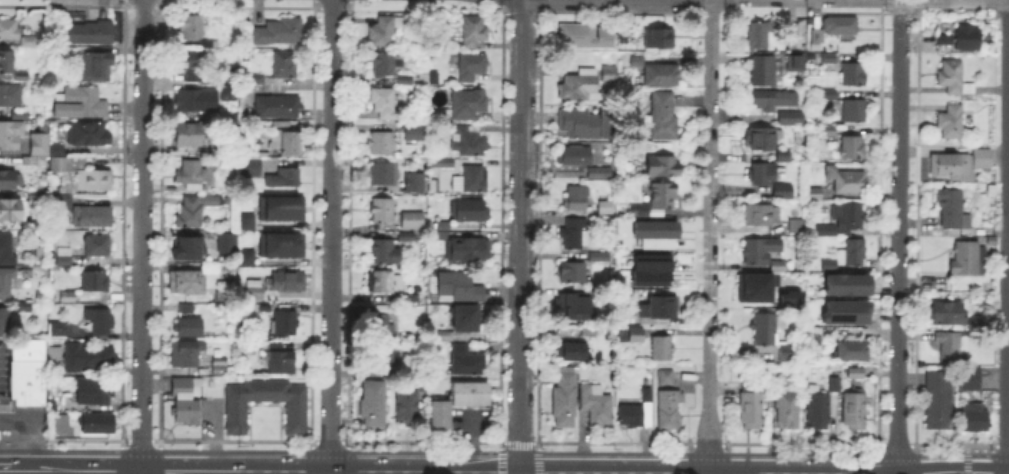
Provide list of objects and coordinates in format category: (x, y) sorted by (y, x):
building: (191, 27)
building: (841, 29)
building: (384, 30)
building: (8, 31)
building: (90, 32)
building: (793, 32)
building: (279, 33)
building: (473, 33)
building: (758, 36)
building: (585, 37)
building: (942, 37)
building: (818, 39)
building: (968, 39)
building: (28, 40)
building: (659, 40)
building: (825, 55)
building: (829, 59)
building: (7, 63)
building: (637, 63)
building: (797, 63)
building: (191, 64)
building: (386, 64)
building: (284, 66)
building: (96, 67)
building: (472, 67)
building: (763, 71)
building: (610, 74)
building: (854, 74)
building: (662, 76)
building: (22, 77)
building: (953, 79)
building: (256, 80)
building: (405, 80)
building: (580, 87)
building: (231, 94)
building: (827, 94)
building: (11, 96)
building: (774, 101)
building: (195, 102)
building: (80, 103)
building: (385, 103)
building: (468, 105)
building: (278, 107)
building: (855, 112)
building: (21, 116)
building: (663, 117)
building: (791, 119)
road: (1008, 119)
building: (951, 123)
building: (585, 124)
building: (410, 128)
building: (827, 131)
building: (88, 134)
building: (10, 135)
building: (188, 136)
building: (762, 139)
building: (469, 141)
building: (287, 142)
building: (382, 143)
building: (42, 148)
building: (854, 148)
building: (575, 156)
building: (784, 156)
building: (439, 163)
building: (959, 164)
building: (251, 166)
building: (664, 168)
building: (379, 172)
building: (82, 174)
building: (596, 174)
building: (763, 174)
building: (192, 176)
building: (284, 178)
building: (10, 180)
building: (412, 180)
building: (475, 180)
building: (847, 182)
building: (435, 188)
building: (782, 194)
building: (814, 194)
building: (664, 196)
building: (576, 198)
building: (228, 200)
building: (64, 202)
building: (279, 207)
building: (606, 207)
building: (195, 209)
building: (9, 210)
building: (953, 210)
building: (383, 211)
building: (640, 211)
building: (471, 212)
building: (760, 215)
building: (93, 217)
building: (244, 220)
building: (413, 221)
building: (843, 221)
building: (797, 226)
building: (653, 232)
building: (575, 235)
road: (331, 236)
road: (898, 236)
road: (142, 237)
building: (406, 237)
road: (519, 237)
road: (710, 237)
road: (1008, 240)
building: (224, 241)
building: (279, 243)
building: (97, 246)
building: (8, 250)
building: (188, 251)
building: (469, 251)
building: (761, 251)
building: (384, 253)
building: (40, 254)
building: (244, 257)
building: (848, 257)
building: (64, 258)
building: (600, 258)
building: (967, 259)
building: (777, 265)
building: (649, 269)
building: (576, 273)
building: (96, 282)
building: (385, 282)
building: (9, 284)
building: (187, 284)
building: (761, 284)
building: (850, 285)
building: (277, 286)
building: (460, 288)
building: (41, 296)
building: (788, 296)
building: (68, 298)
building: (23, 307)
building: (576, 307)
building: (661, 308)
building: (186, 309)
building: (848, 313)
building: (947, 315)
building: (629, 318)
building: (467, 319)
building: (4, 322)
building: (99, 323)
building: (284, 323)
building: (383, 323)
building: (188, 328)
building: (768, 329)
building: (58, 331)
building: (589, 332)
building: (829, 334)
building: (622, 335)
building: (637, 335)
building: (443, 337)
building: (274, 345)
building: (953, 347)
building: (662, 349)
building: (847, 351)
building: (570, 352)
building: (789, 352)
building: (185, 354)
building: (84, 355)
road: (1007, 357)
building: (385, 359)
building: (220, 360)
building: (282, 363)
building: (463, 364)
building: (219, 368)
building: (28, 371)
building: (857, 374)
building: (667, 379)
building: (970, 380)
building: (835, 385)
building: (91, 389)
building: (469, 395)
building: (186, 401)
building: (564, 401)
building: (939, 401)
building: (374, 405)
building: (408, 405)
building: (596, 405)
building: (752, 407)
building: (819, 409)
building: (854, 409)
building: (669, 410)
building: (788, 410)
building: (638, 412)
building: (441, 415)
building: (237, 419)
building: (58, 421)
building: (975, 422)
building: (97, 423)
road: (60, 437)
road: (139, 439)
road: (233, 439)
road: (328, 440)
road: (442, 440)
road: (611, 441)
road: (706, 442)
road: (800, 443)
road: (894, 443)
road: (953, 443)
road: (1001, 443)
road: (60, 449)
road: (140, 449)
road: (233, 450)
road: (329, 451)
road: (519, 452)
road: (707, 453)
road: (799, 453)
road: (894, 454)
road: (954, 454)
road: (1000, 454)
road: (120, 456)
road: (158, 456)
road: (309, 457)
road: (348, 457)
road: (498, 457)
road: (538, 457)
road: (965, 458)
road: (953, 465)
road: (23, 467)
road: (188, 467)
traffic signals: (521, 473)
road: (523, 473)

